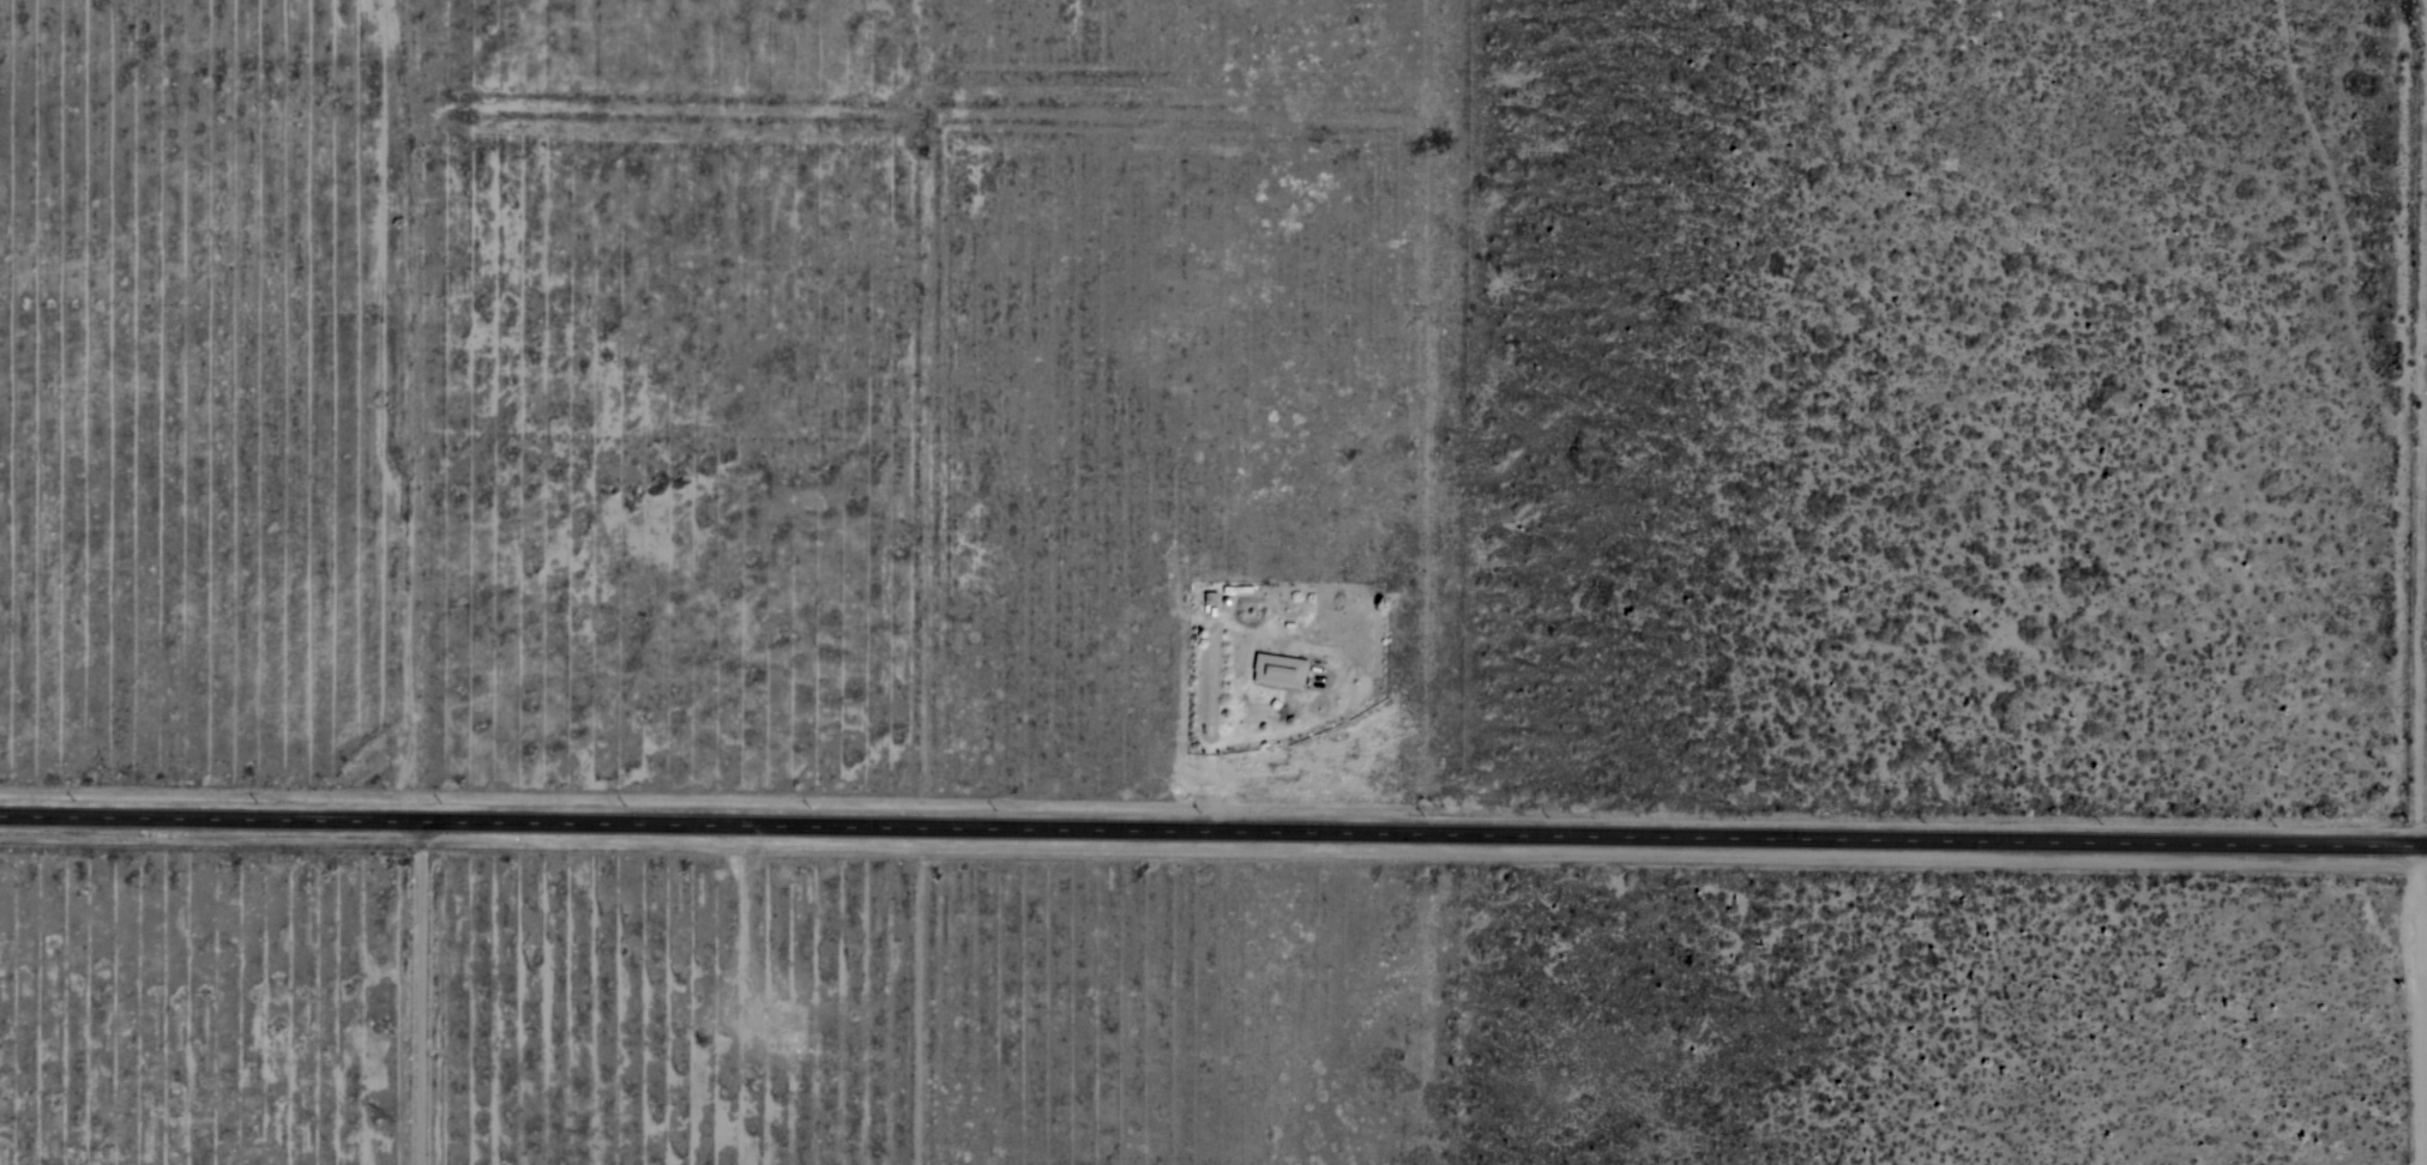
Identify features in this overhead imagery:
road: (1213, 825)
road: (423, 989)

